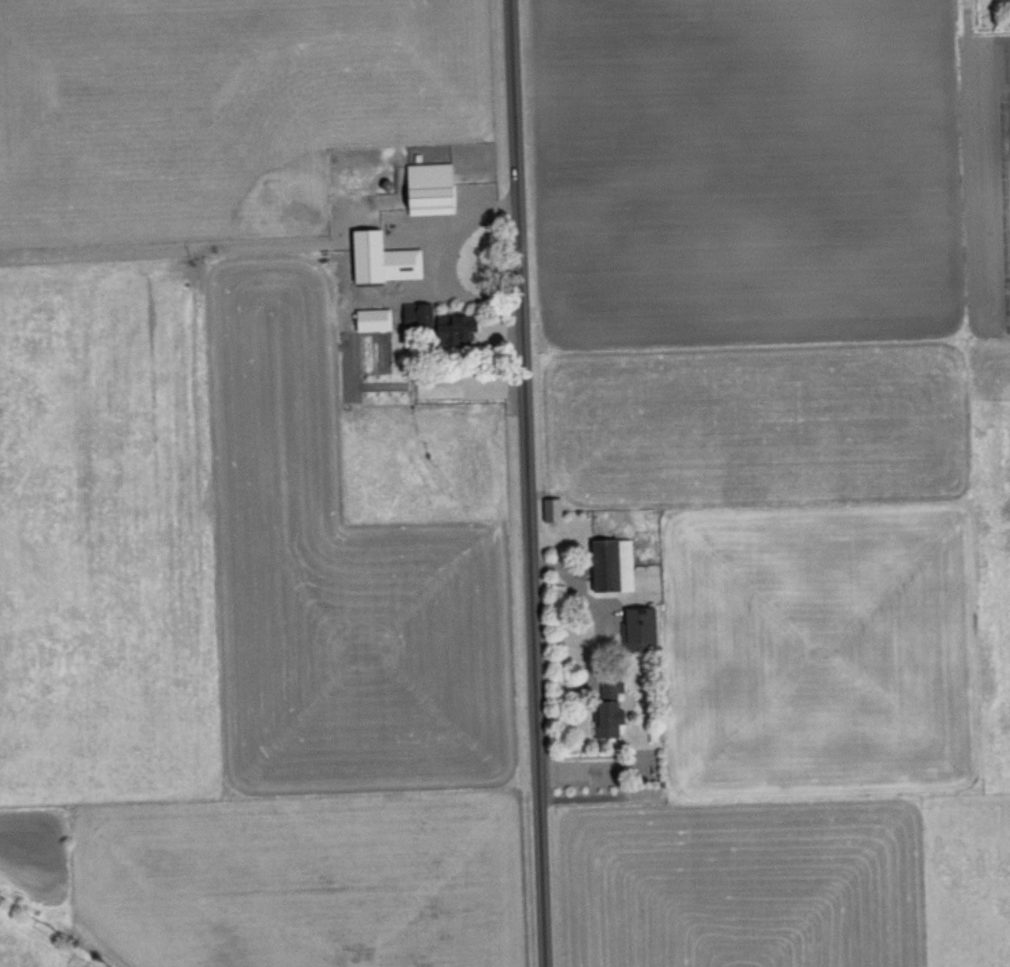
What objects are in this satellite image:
building: (998, 0)
building: (425, 188)
building: (379, 259)
building: (405, 317)
building: (454, 331)
road: (530, 483)
building: (549, 508)
building: (609, 563)
building: (636, 626)
building: (607, 709)

